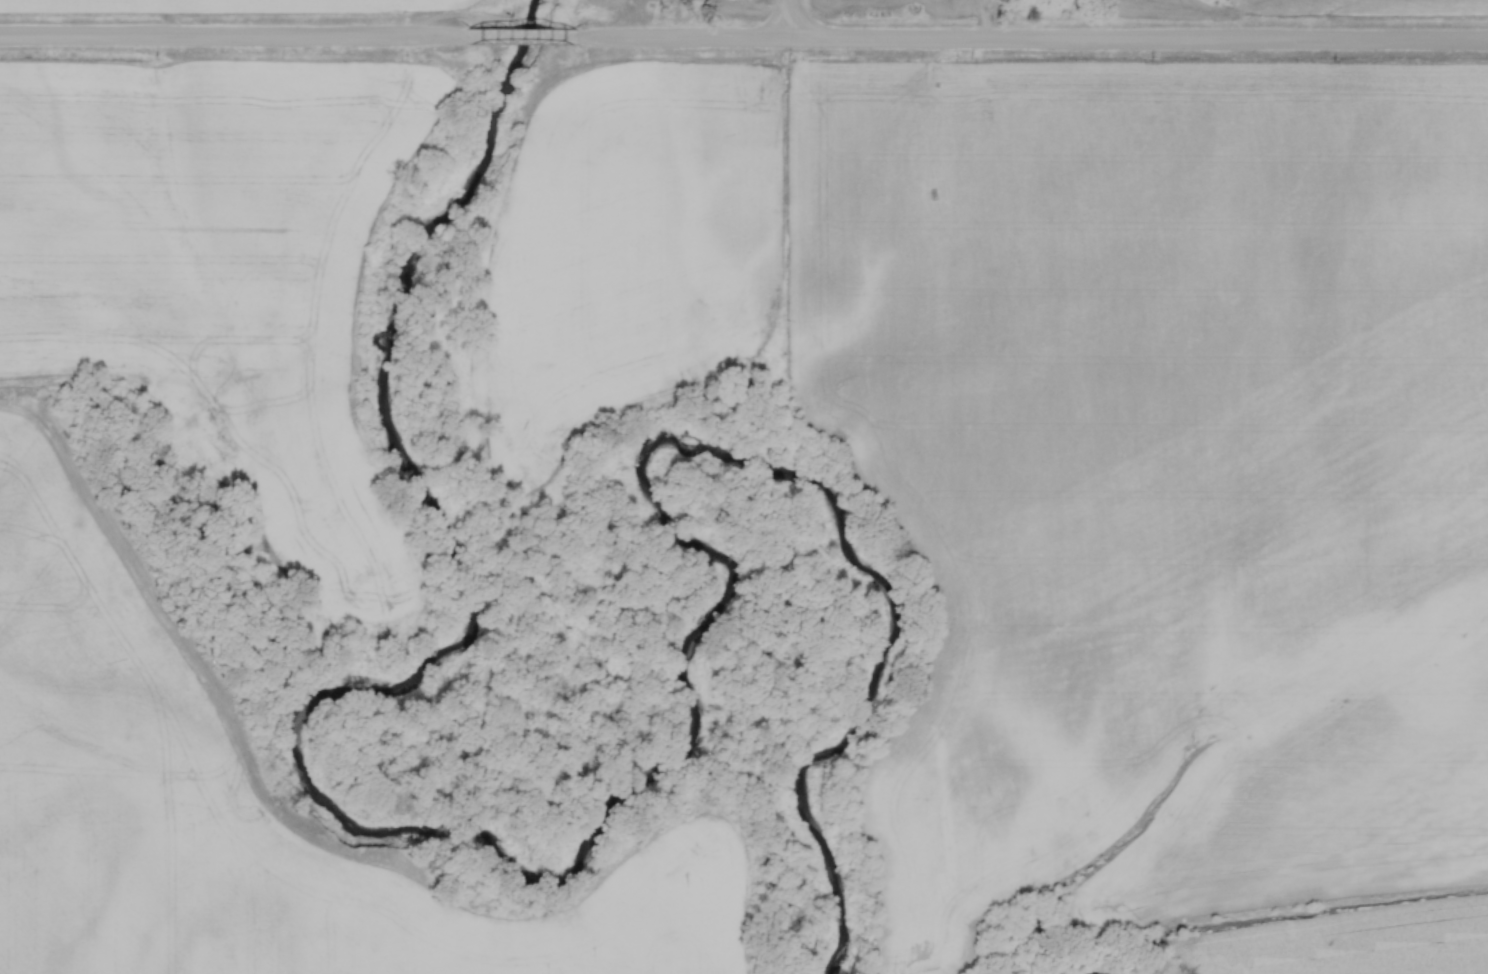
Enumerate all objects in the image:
road: (787, 20)
road: (986, 20)
road: (240, 38)
road: (531, 39)
road: (1035, 42)
river: (583, 856)

